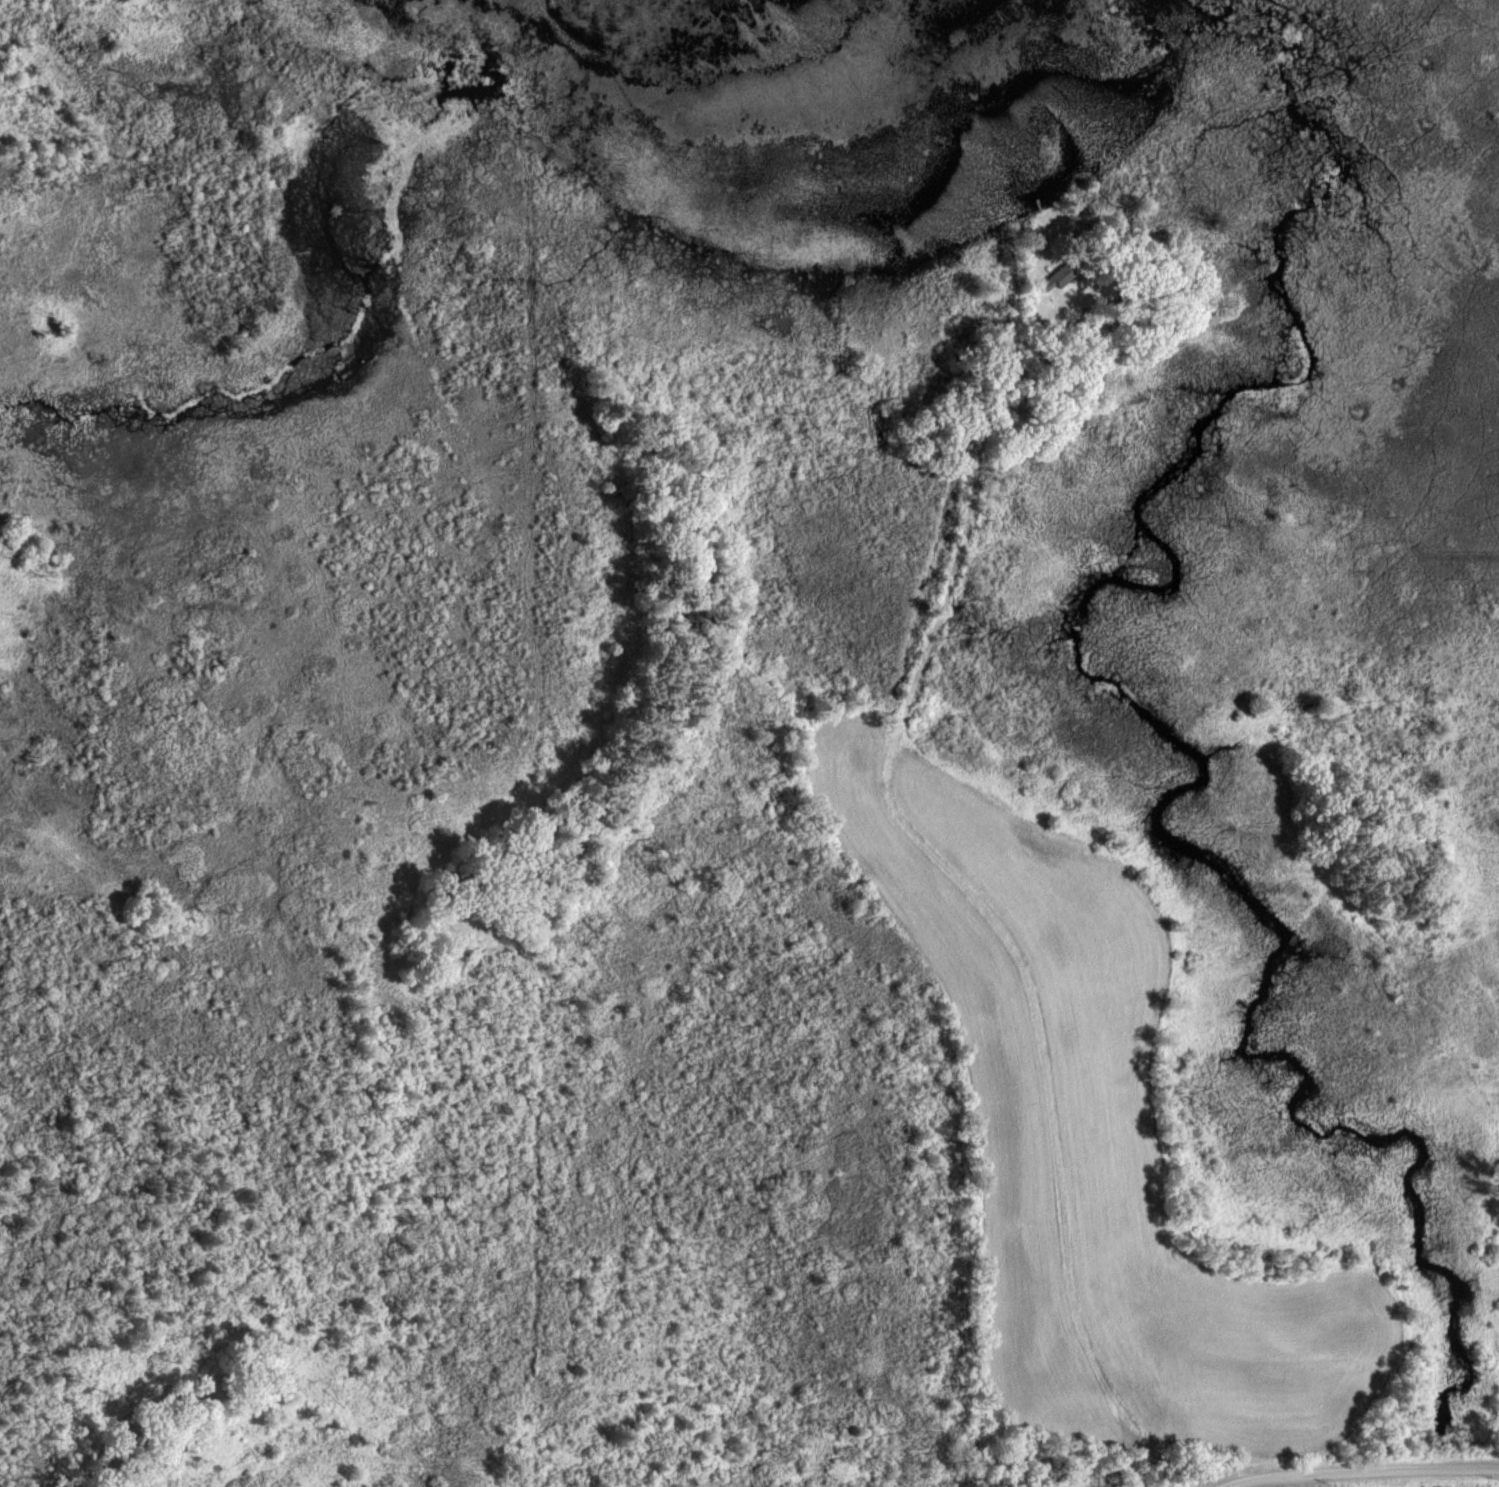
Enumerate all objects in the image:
road: (1354, 1471)

